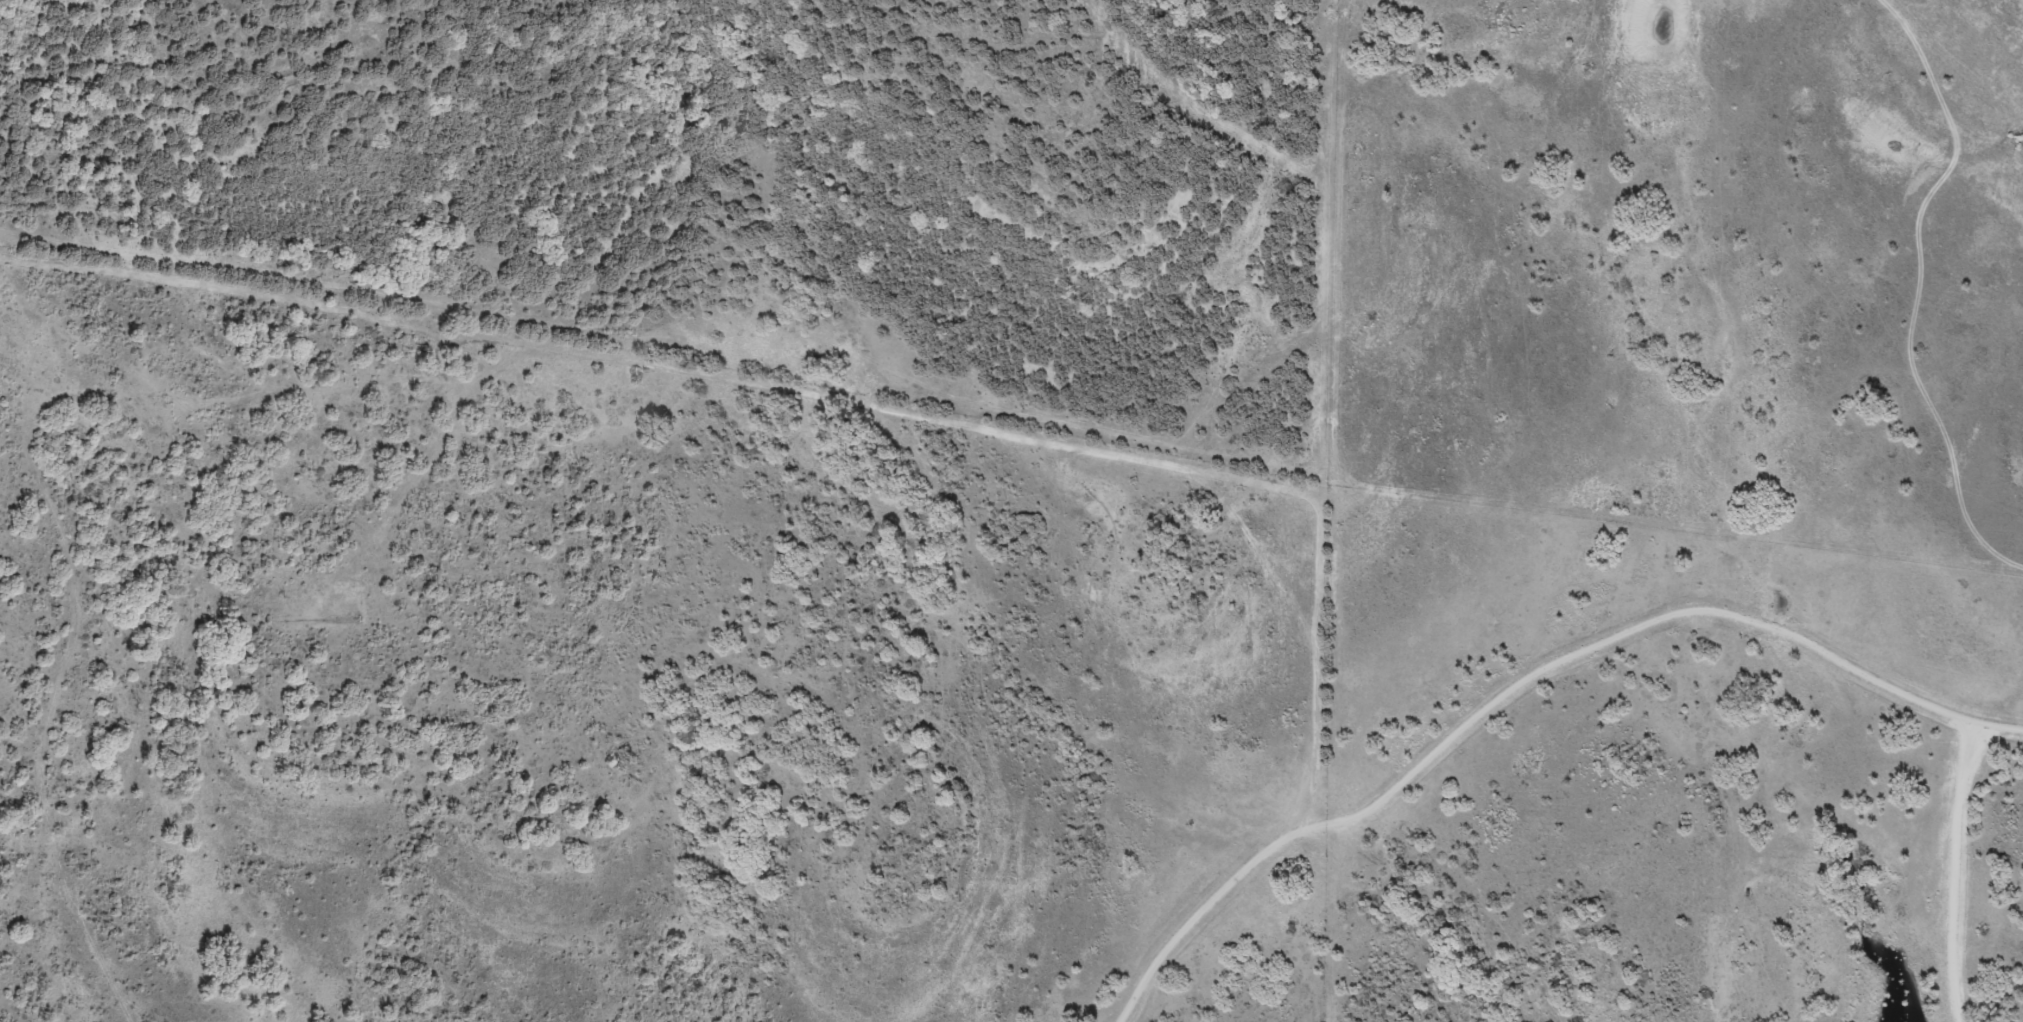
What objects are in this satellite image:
road: (1650, 569)

